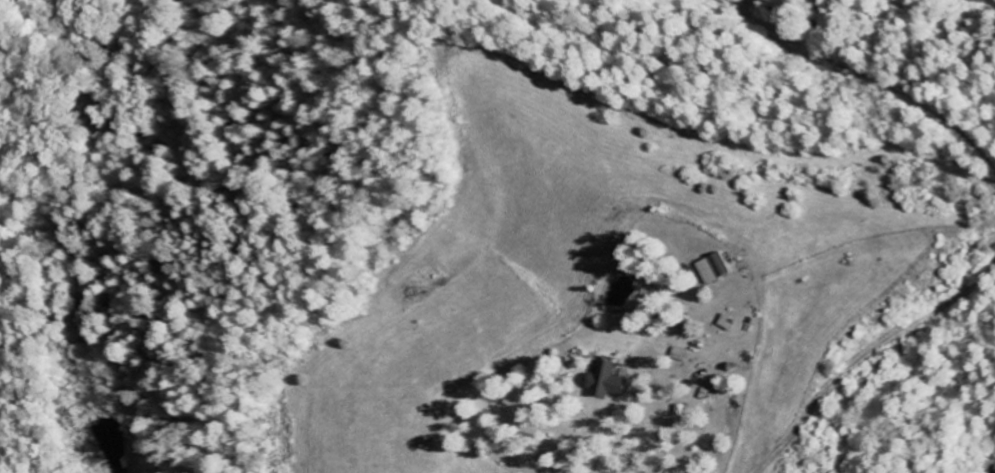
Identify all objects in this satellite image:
building: (711, 269)
building: (601, 382)

